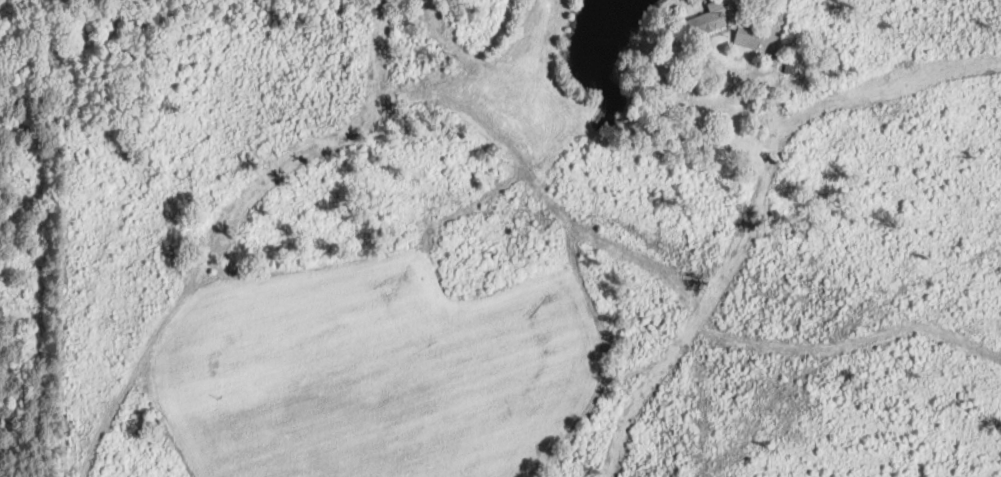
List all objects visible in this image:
road: (782, 10)
building: (724, 23)

